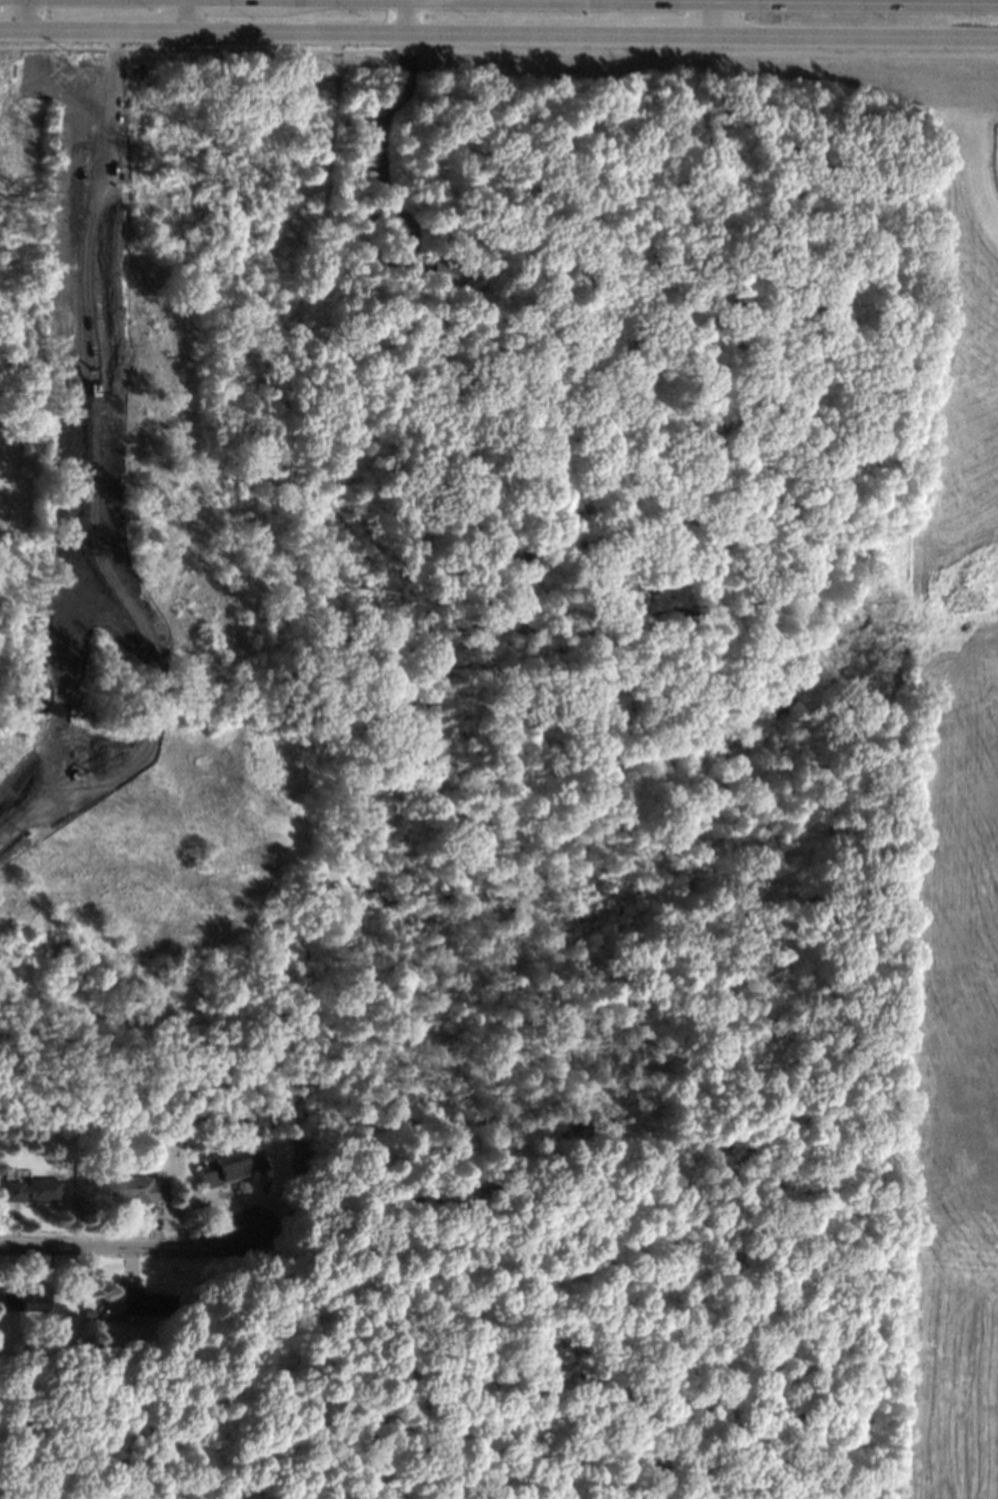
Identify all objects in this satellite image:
road: (936, 0)
road: (21, 16)
road: (178, 16)
road: (719, 18)
road: (499, 34)
road: (410, 88)
building: (311, 113)
airport: (995, 153)
building: (282, 215)
building: (1, 226)
building: (332, 244)
building: (331, 259)
building: (445, 267)
building: (319, 317)
park: (19, 452)
building: (26, 455)
building: (177, 1142)
building: (221, 1169)
building: (134, 1189)
building: (31, 1190)
road: (129, 1248)
building: (24, 1299)
building: (145, 1303)
building: (89, 1313)

